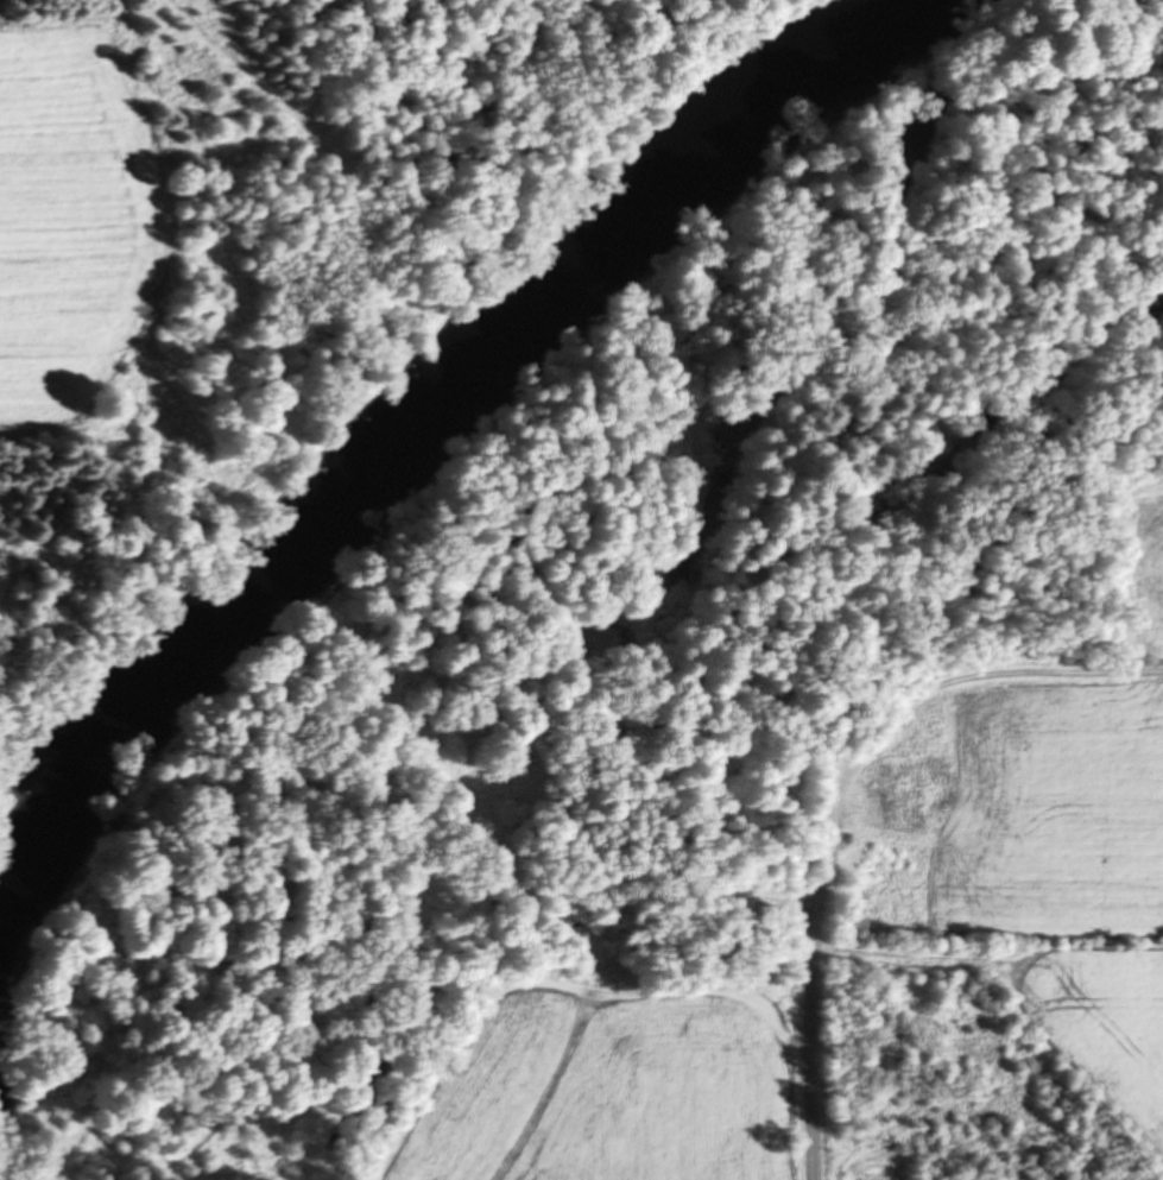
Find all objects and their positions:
river: (422, 385)
road: (815, 1039)

